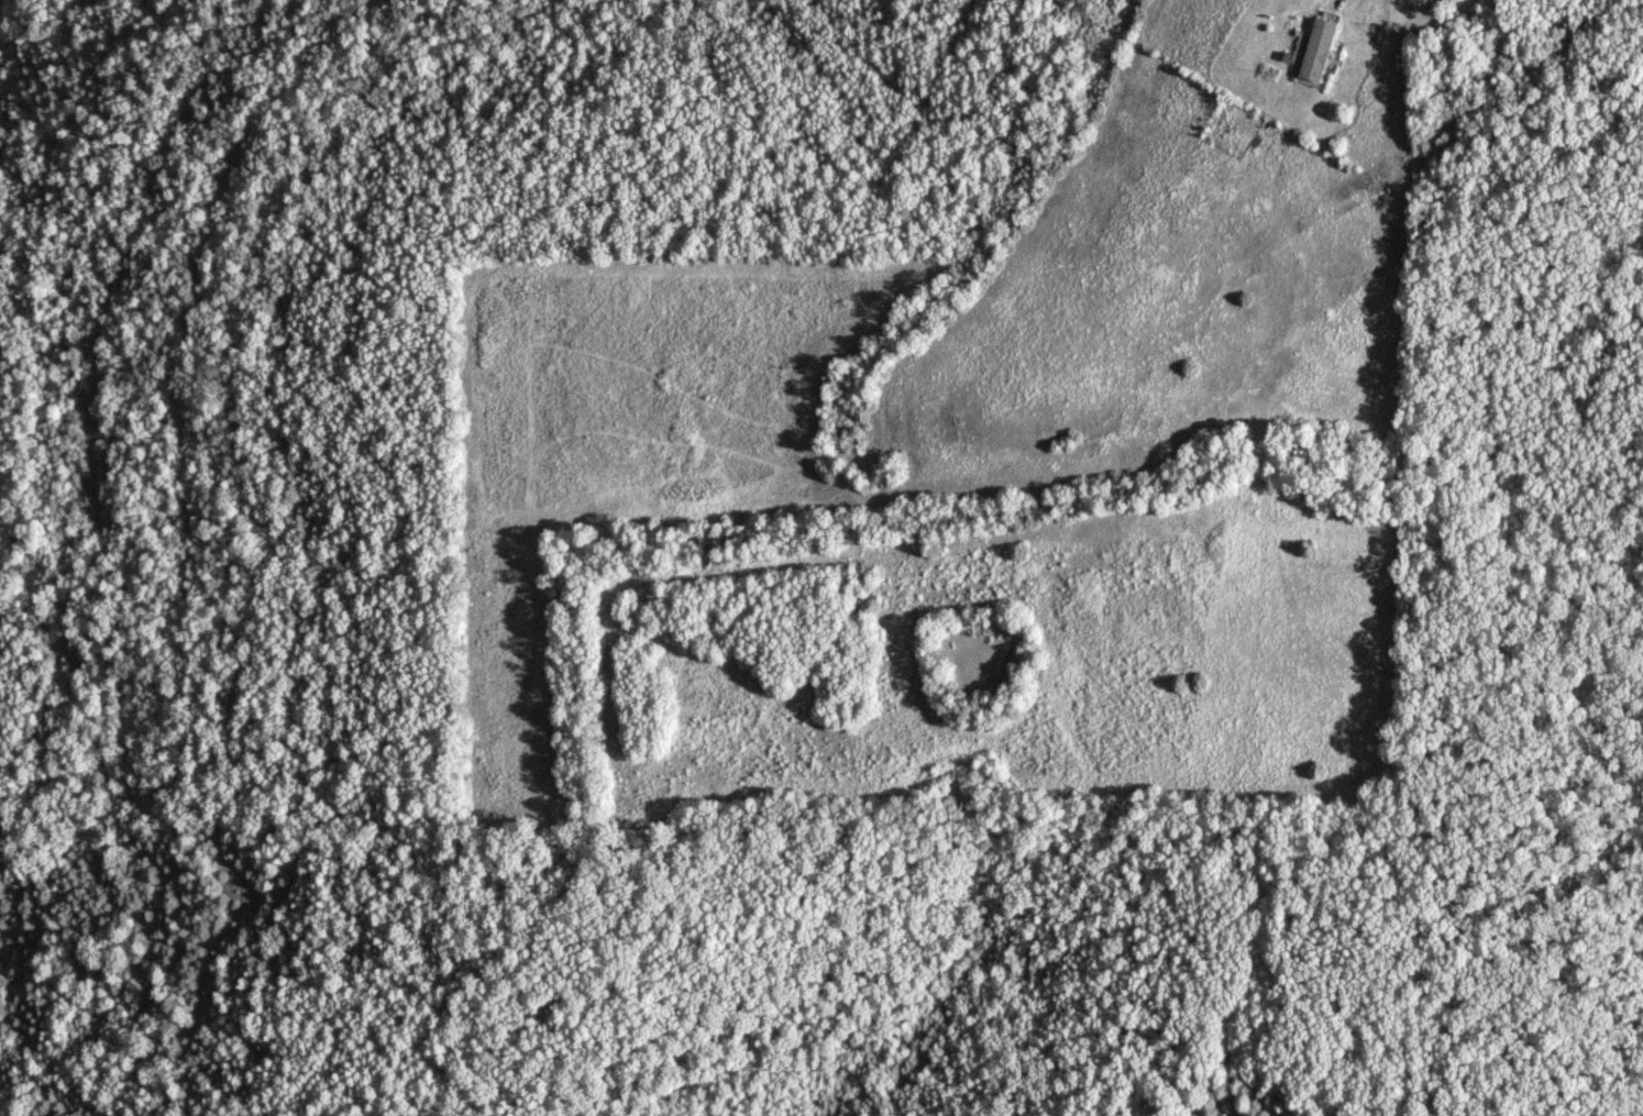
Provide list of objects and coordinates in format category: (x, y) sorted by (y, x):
building: (1464, 0)
building: (1317, 51)

